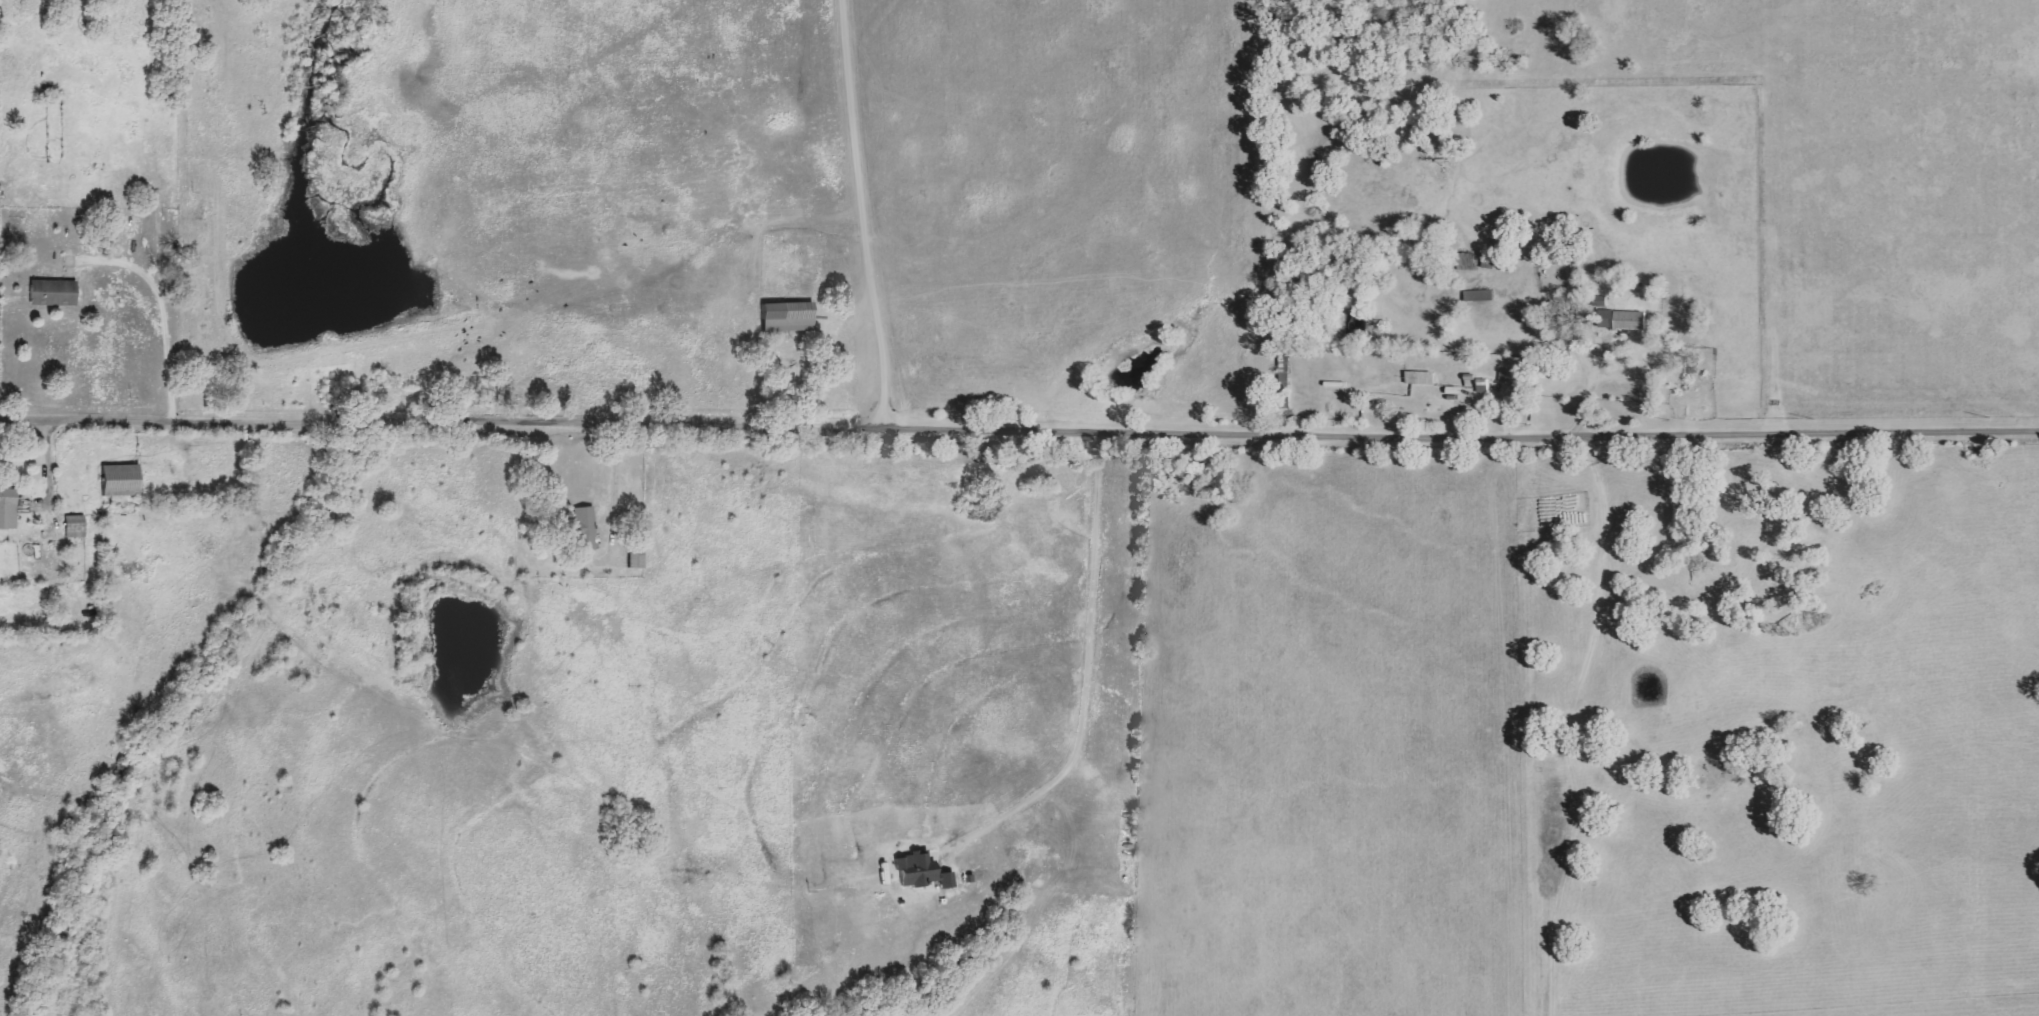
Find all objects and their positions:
road: (859, 215)
building: (56, 292)
building: (1600, 301)
road: (165, 304)
building: (785, 316)
building: (1621, 320)
building: (1512, 370)
building: (1481, 386)
road: (1019, 432)
road: (50, 463)
building: (125, 480)
building: (9, 508)
building: (77, 526)
building: (580, 528)
road: (1090, 653)
building: (912, 870)

